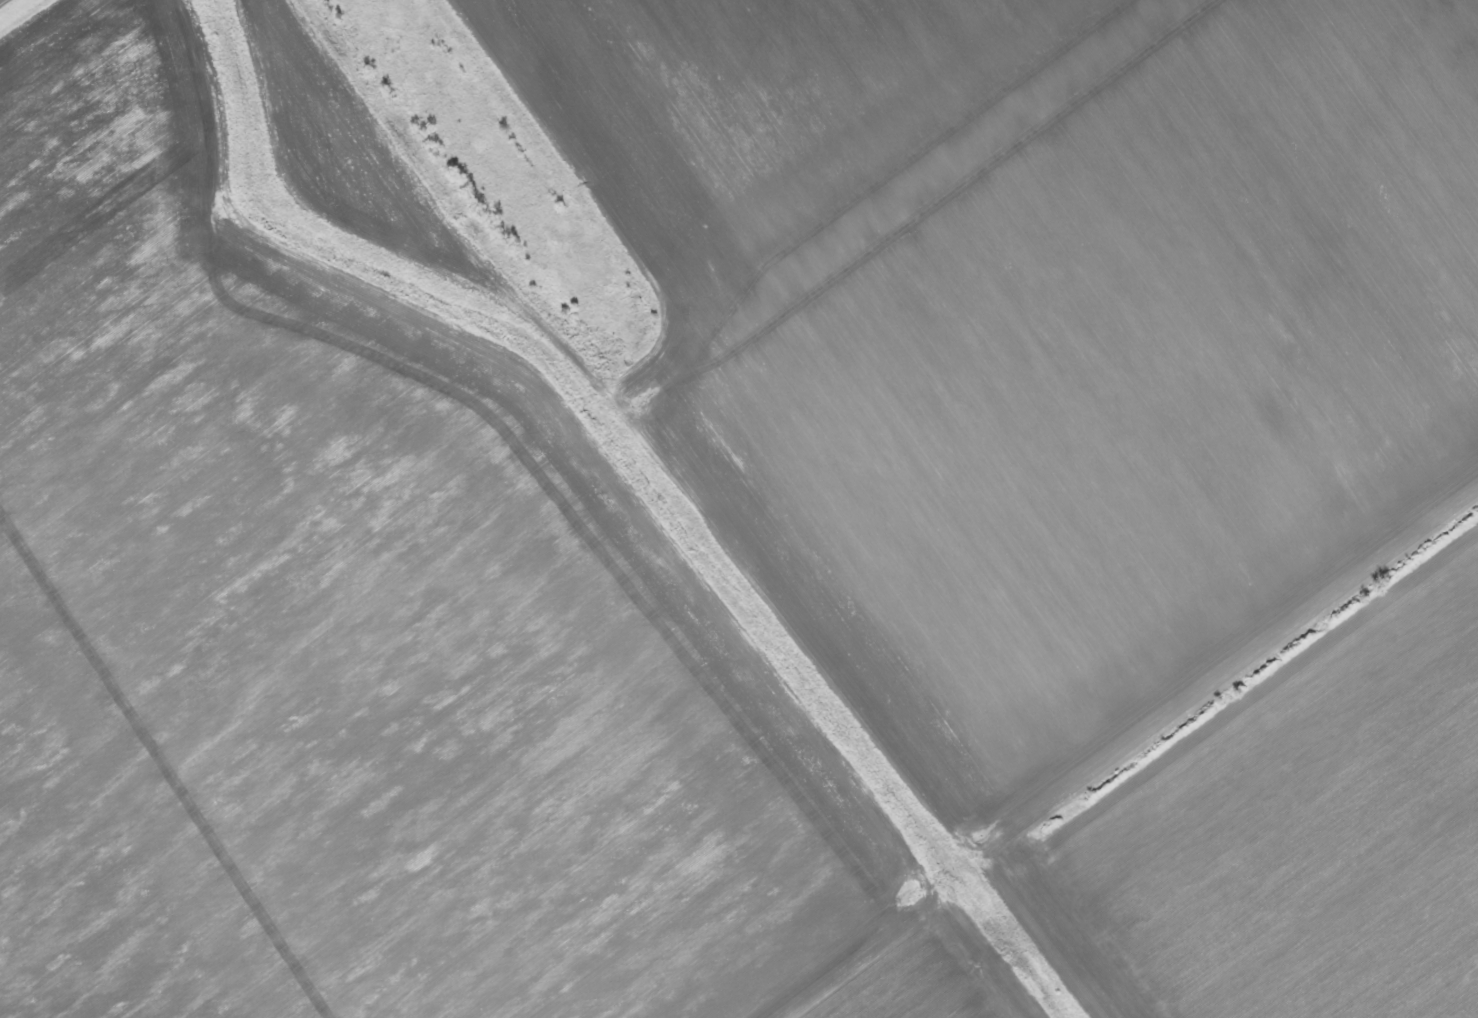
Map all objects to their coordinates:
road: (709, 538)

